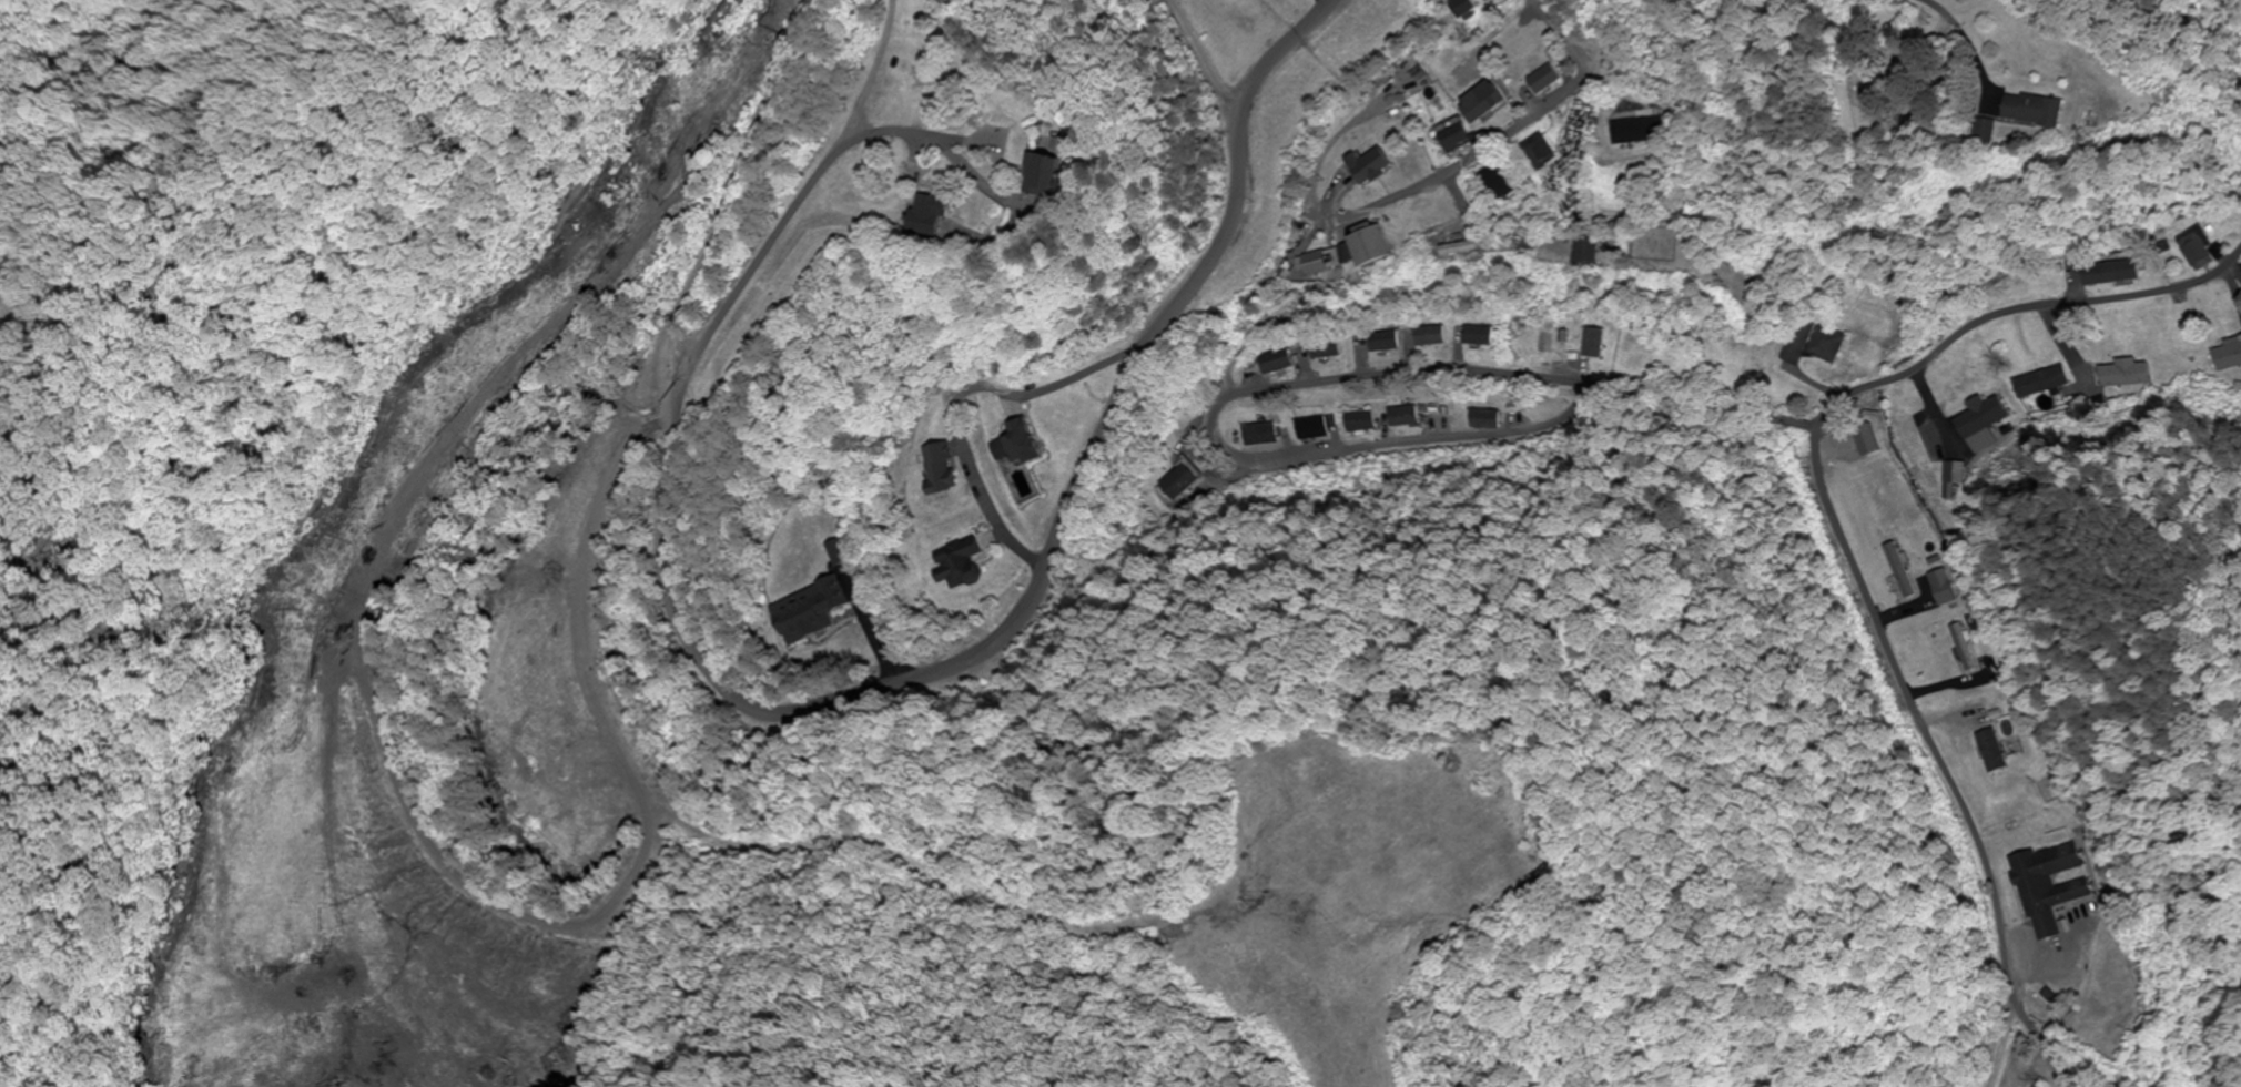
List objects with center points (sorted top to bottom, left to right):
building: (1497, 0)
building: (1471, 9)
road: (1939, 43)
road: (1282, 49)
road: (1203, 51)
building: (1553, 80)
power tower: (2184, 99)
building: (1489, 102)
building: (2041, 112)
building: (1647, 131)
building: (1462, 136)
road: (1511, 136)
building: (1549, 153)
building: (1376, 167)
building: (1053, 180)
road: (818, 182)
building: (1505, 184)
building: (935, 217)
building: (1379, 248)
building: (1468, 251)
building: (2197, 251)
building: (1592, 254)
building: (1330, 264)
building: (2111, 274)
building: (1290, 305)
building: (1478, 337)
building: (1430, 338)
building: (1385, 343)
building: (1591, 344)
building: (1814, 344)
building: (1328, 351)
building: (2227, 356)
building: (1278, 363)
building: (2126, 374)
road: (1295, 380)
building: (1405, 417)
building: (1485, 419)
building: (1361, 421)
building: (1312, 428)
building: (1986, 429)
building: (1260, 435)
building: (1021, 445)
building: (944, 468)
building: (1180, 480)
road: (1841, 540)
building: (963, 562)
road: (804, 710)
building: (2048, 886)

